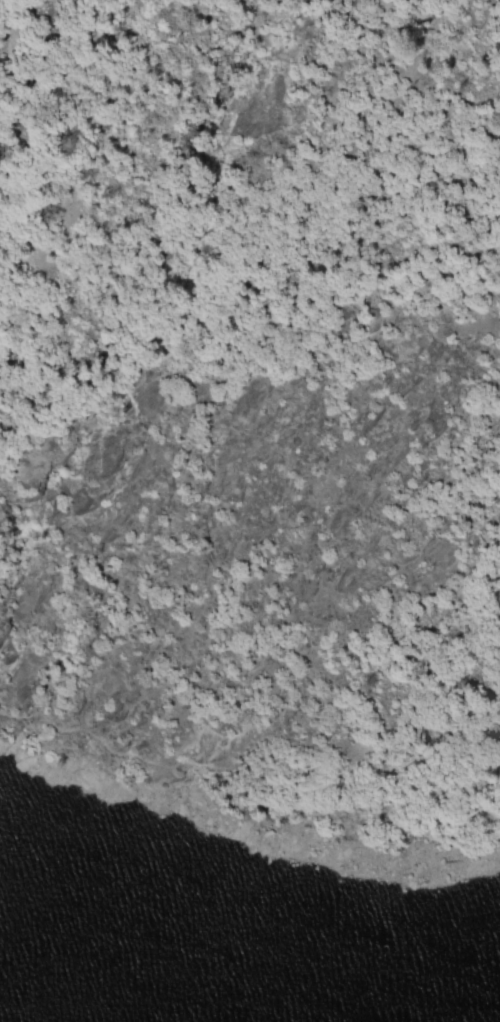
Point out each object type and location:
road: (246, 785)

